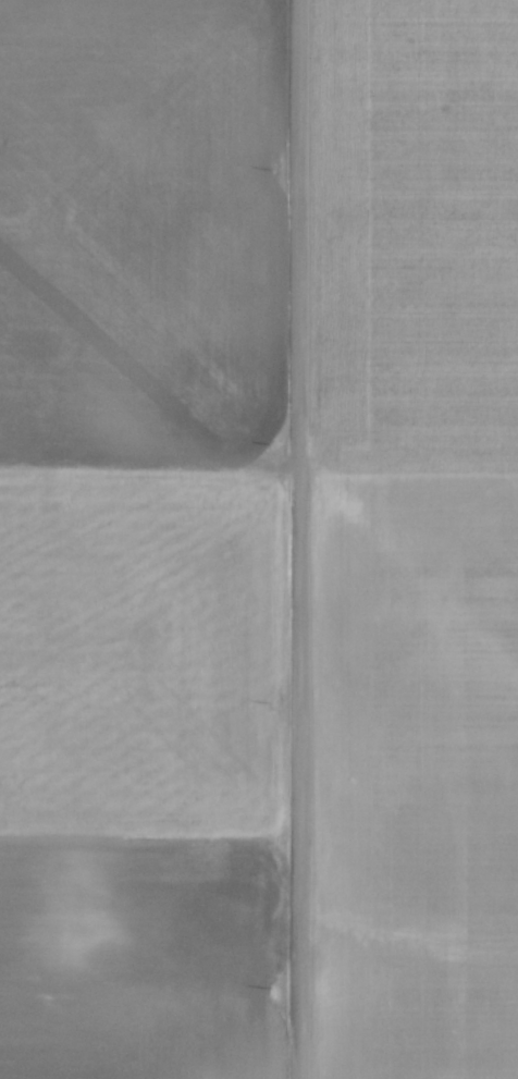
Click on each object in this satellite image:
crop: (419, 538)
road: (300, 539)
crop: (140, 540)

